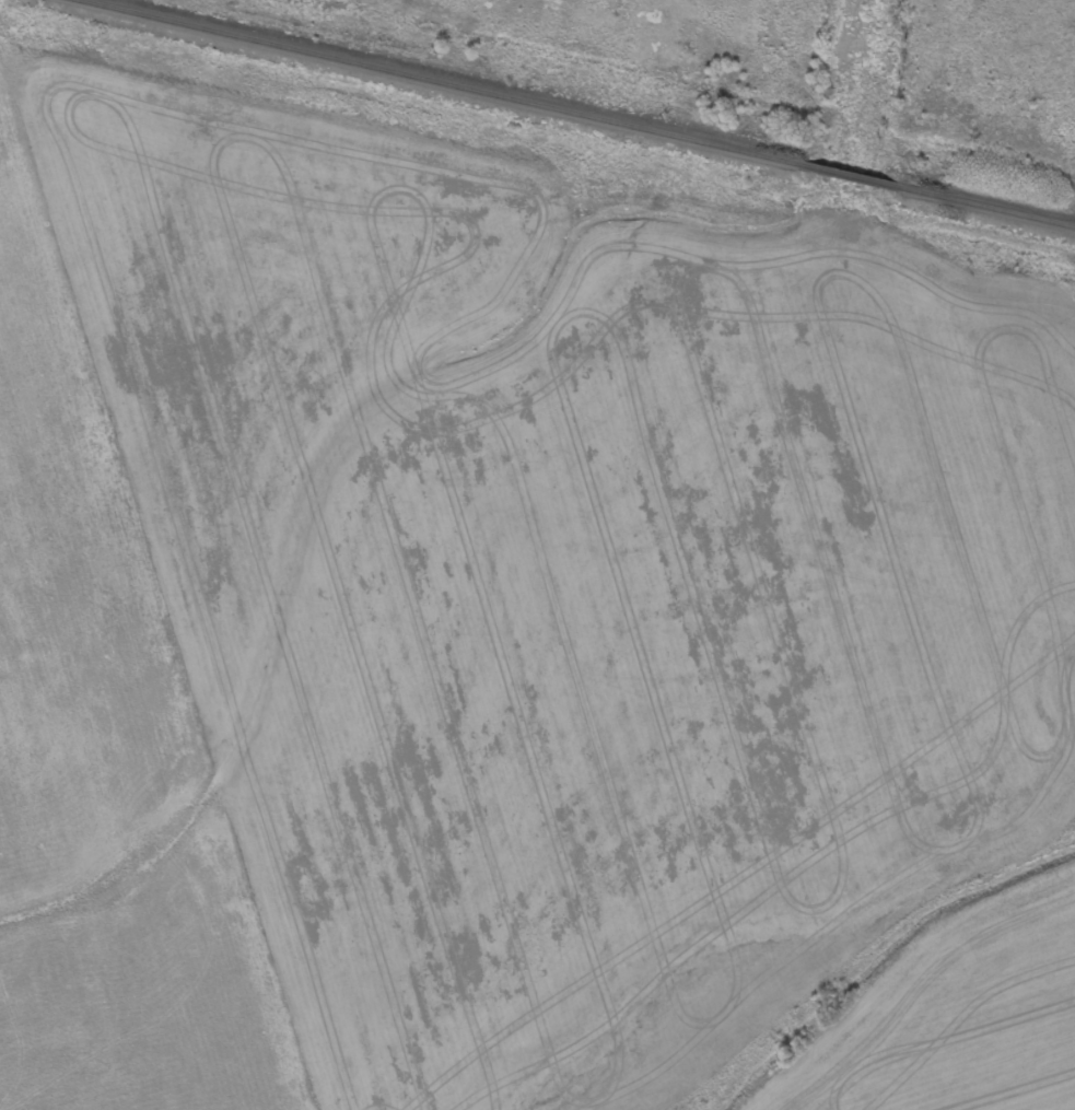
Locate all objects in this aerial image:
railway: (575, 114)

